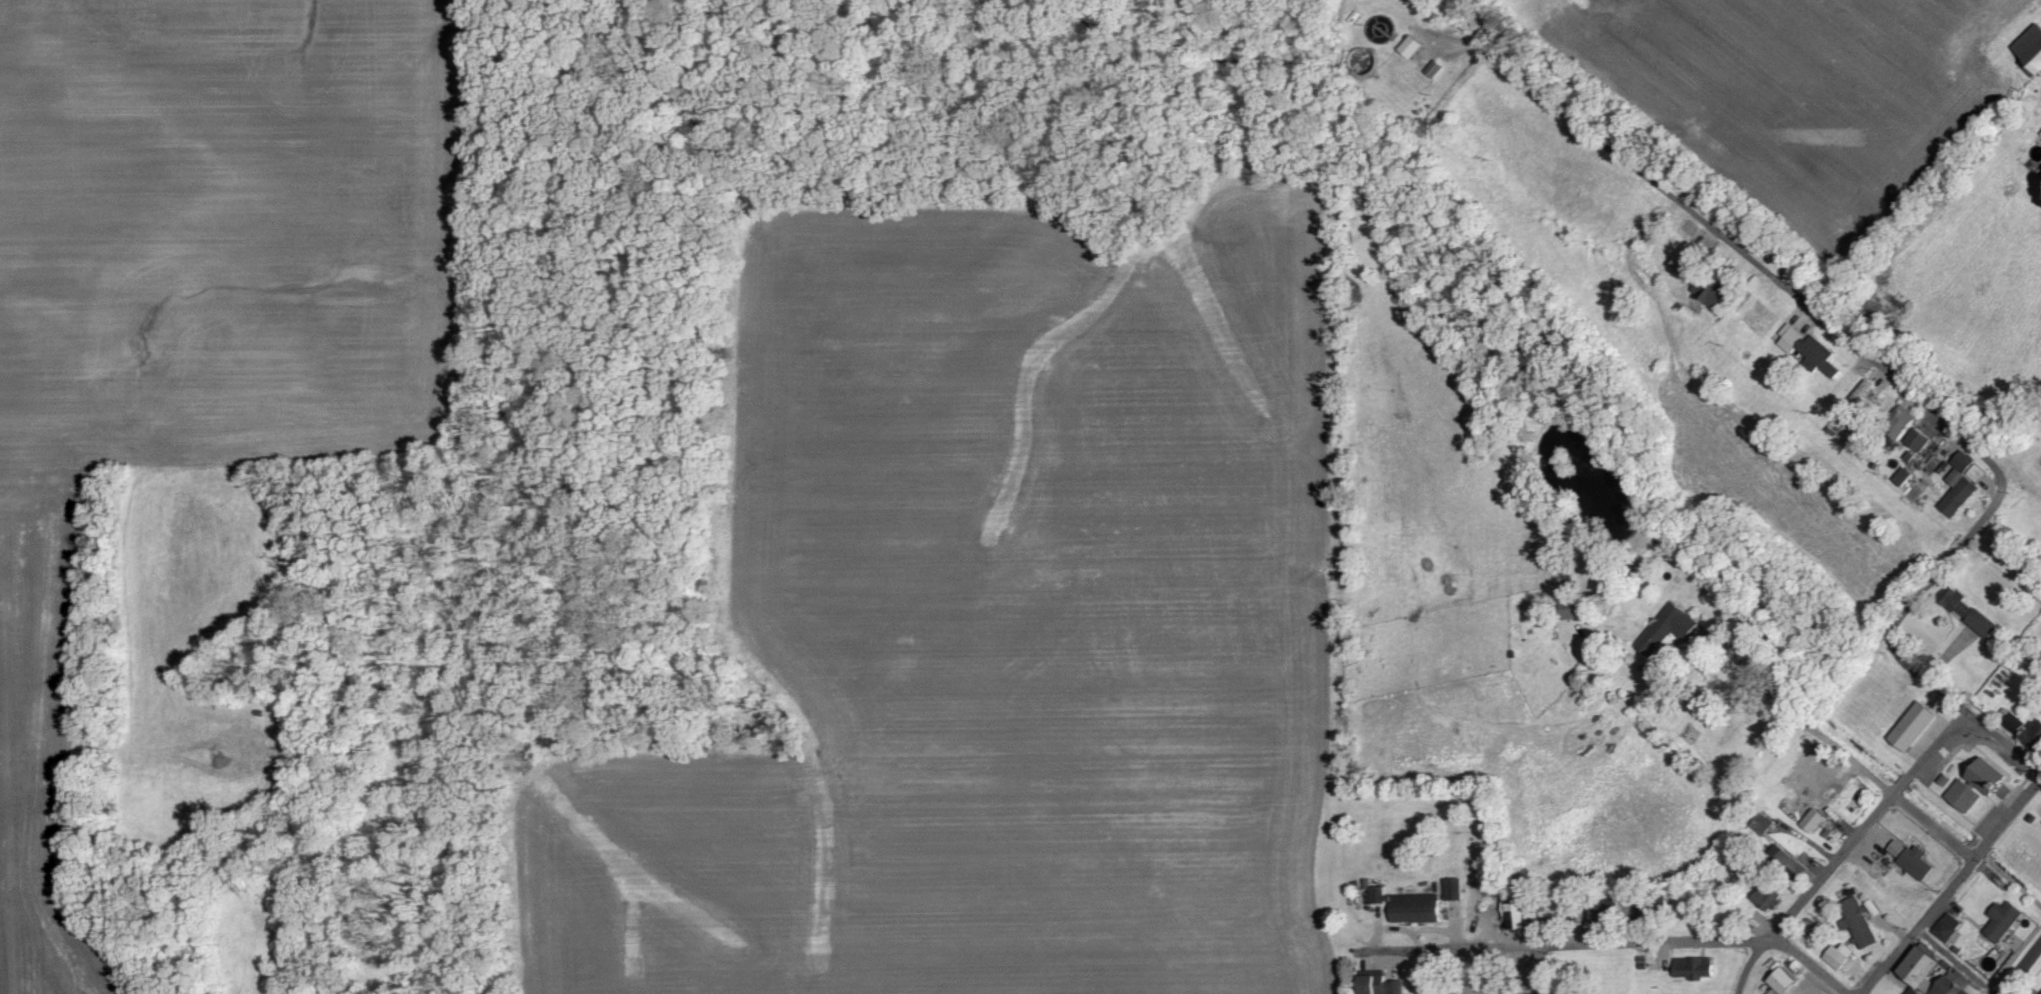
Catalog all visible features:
building: (1411, 47)
building: (2031, 51)
building: (1435, 69)
building: (1689, 260)
building: (1713, 293)
building: (1811, 351)
road: (1902, 387)
building: (1860, 394)
building: (1900, 422)
building: (1919, 441)
building: (1903, 477)
building: (1962, 484)
building: (1573, 608)
building: (1972, 615)
building: (1669, 626)
road: (1695, 649)
building: (2013, 722)
building: (1911, 724)
road: (1826, 733)
building: (2033, 734)
building: (1921, 746)
building: (1817, 776)
building: (1988, 776)
building: (1945, 779)
building: (1964, 795)
building: (1812, 821)
building: (1763, 824)
road: (1844, 848)
building: (1897, 848)
building: (1787, 860)
building: (1918, 862)
road: (1952, 886)
building: (1454, 888)
building: (1769, 897)
building: (1409, 905)
building: (1554, 910)
building: (1517, 915)
building: (2004, 920)
building: (1859, 922)
building: (1947, 927)
road: (1616, 944)
building: (1840, 955)
building: (1921, 966)
building: (1695, 967)
road: (2021, 969)
road: (1542, 970)
building: (1783, 980)
building: (1952, 983)
building: (1380, 984)
building: (1463, 988)
building: (1914, 991)
building: (1506, 992)

